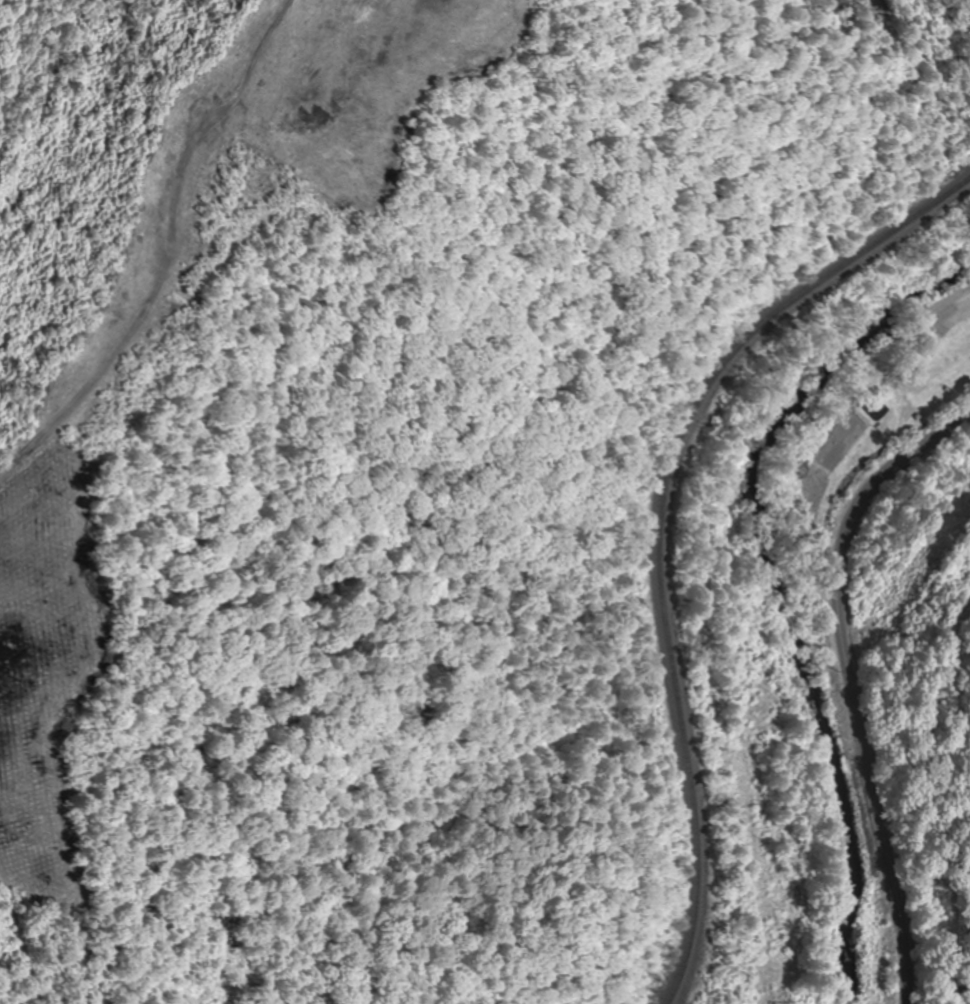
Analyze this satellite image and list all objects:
building: (922, 399)
building: (874, 410)
railway: (657, 524)
road: (850, 681)

